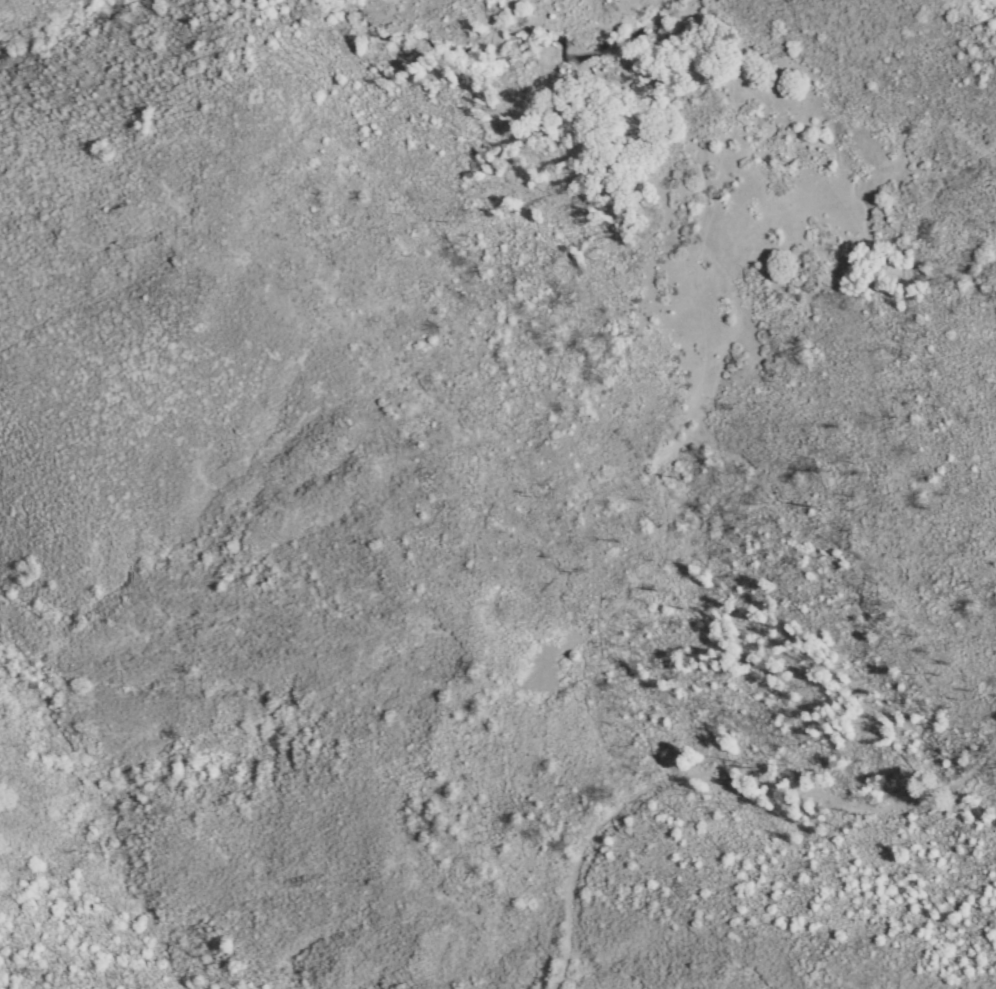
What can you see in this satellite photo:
road: (850, 68)
road: (716, 786)

